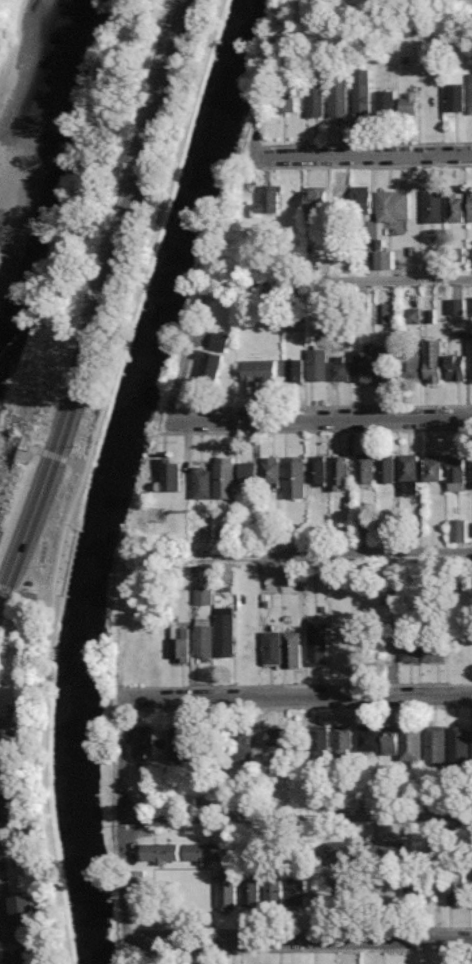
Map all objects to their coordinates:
road: (382, 32)
river: (53, 87)
building: (362, 90)
road: (268, 93)
building: (471, 93)
building: (338, 97)
building: (455, 97)
building: (284, 99)
building: (315, 101)
building: (385, 102)
building: (409, 103)
road: (369, 144)
road: (259, 152)
road: (362, 156)
road: (260, 163)
road: (369, 166)
building: (268, 200)
building: (317, 200)
building: (339, 201)
building: (393, 204)
building: (432, 205)
building: (471, 206)
building: (456, 207)
building: (363, 210)
building: (471, 258)
building: (383, 260)
road: (349, 283)
road: (99, 299)
building: (471, 304)
building: (456, 306)
building: (383, 312)
building: (411, 316)
building: (219, 341)
road: (191, 349)
building: (471, 358)
building: (433, 360)
building: (317, 363)
building: (386, 363)
building: (412, 364)
building: (209, 365)
building: (364, 365)
building: (294, 366)
building: (456, 367)
building: (341, 368)
building: (260, 372)
road: (325, 407)
road: (176, 416)
road: (322, 419)
road: (166, 427)
road: (316, 431)
building: (434, 466)
building: (386, 468)
building: (365, 469)
building: (248, 470)
building: (317, 470)
building: (456, 471)
building: (471, 471)
building: (271, 472)
building: (340, 472)
road: (26, 474)
road: (82, 474)
building: (170, 474)
building: (408, 474)
building: (224, 476)
building: (295, 476)
building: (202, 481)
building: (471, 528)
building: (458, 530)
building: (1, 533)
building: (220, 533)
road: (322, 558)
road: (29, 592)
building: (204, 594)
building: (225, 632)
building: (204, 636)
building: (180, 643)
building: (318, 646)
building: (282, 649)
building: (423, 650)
road: (295, 685)
road: (295, 696)
road: (296, 706)
building: (0, 717)
road: (9, 727)
building: (368, 738)
building: (278, 739)
building: (320, 740)
building: (343, 741)
building: (389, 741)
building: (471, 741)
building: (143, 742)
building: (411, 742)
building: (181, 744)
building: (240, 744)
building: (435, 745)
building: (459, 745)
road: (122, 802)
building: (10, 807)
road: (293, 819)
building: (344, 851)
building: (388, 851)
building: (161, 853)
building: (203, 853)
building: (412, 886)
building: (459, 888)
building: (227, 889)
building: (250, 889)
building: (274, 889)
building: (137, 890)
building: (296, 890)
building: (24, 908)
road: (2, 915)
parking lot: (4, 921)
road: (298, 929)
road: (299, 940)
road: (299, 950)
building: (17, 956)

